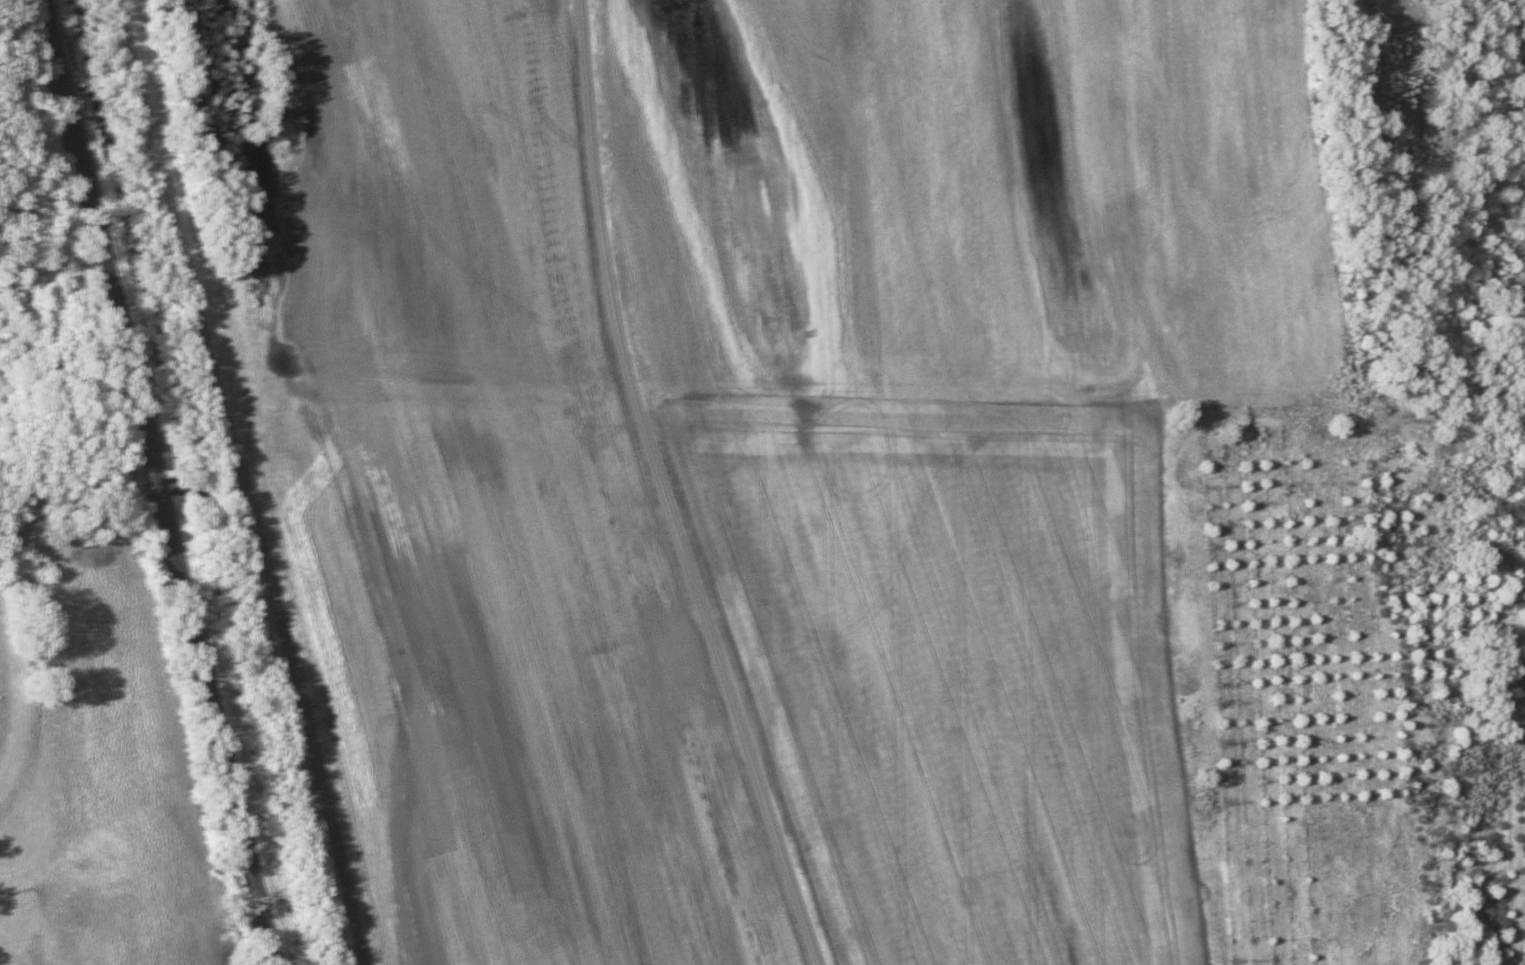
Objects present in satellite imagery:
road: (665, 490)
railway: (123, 540)

